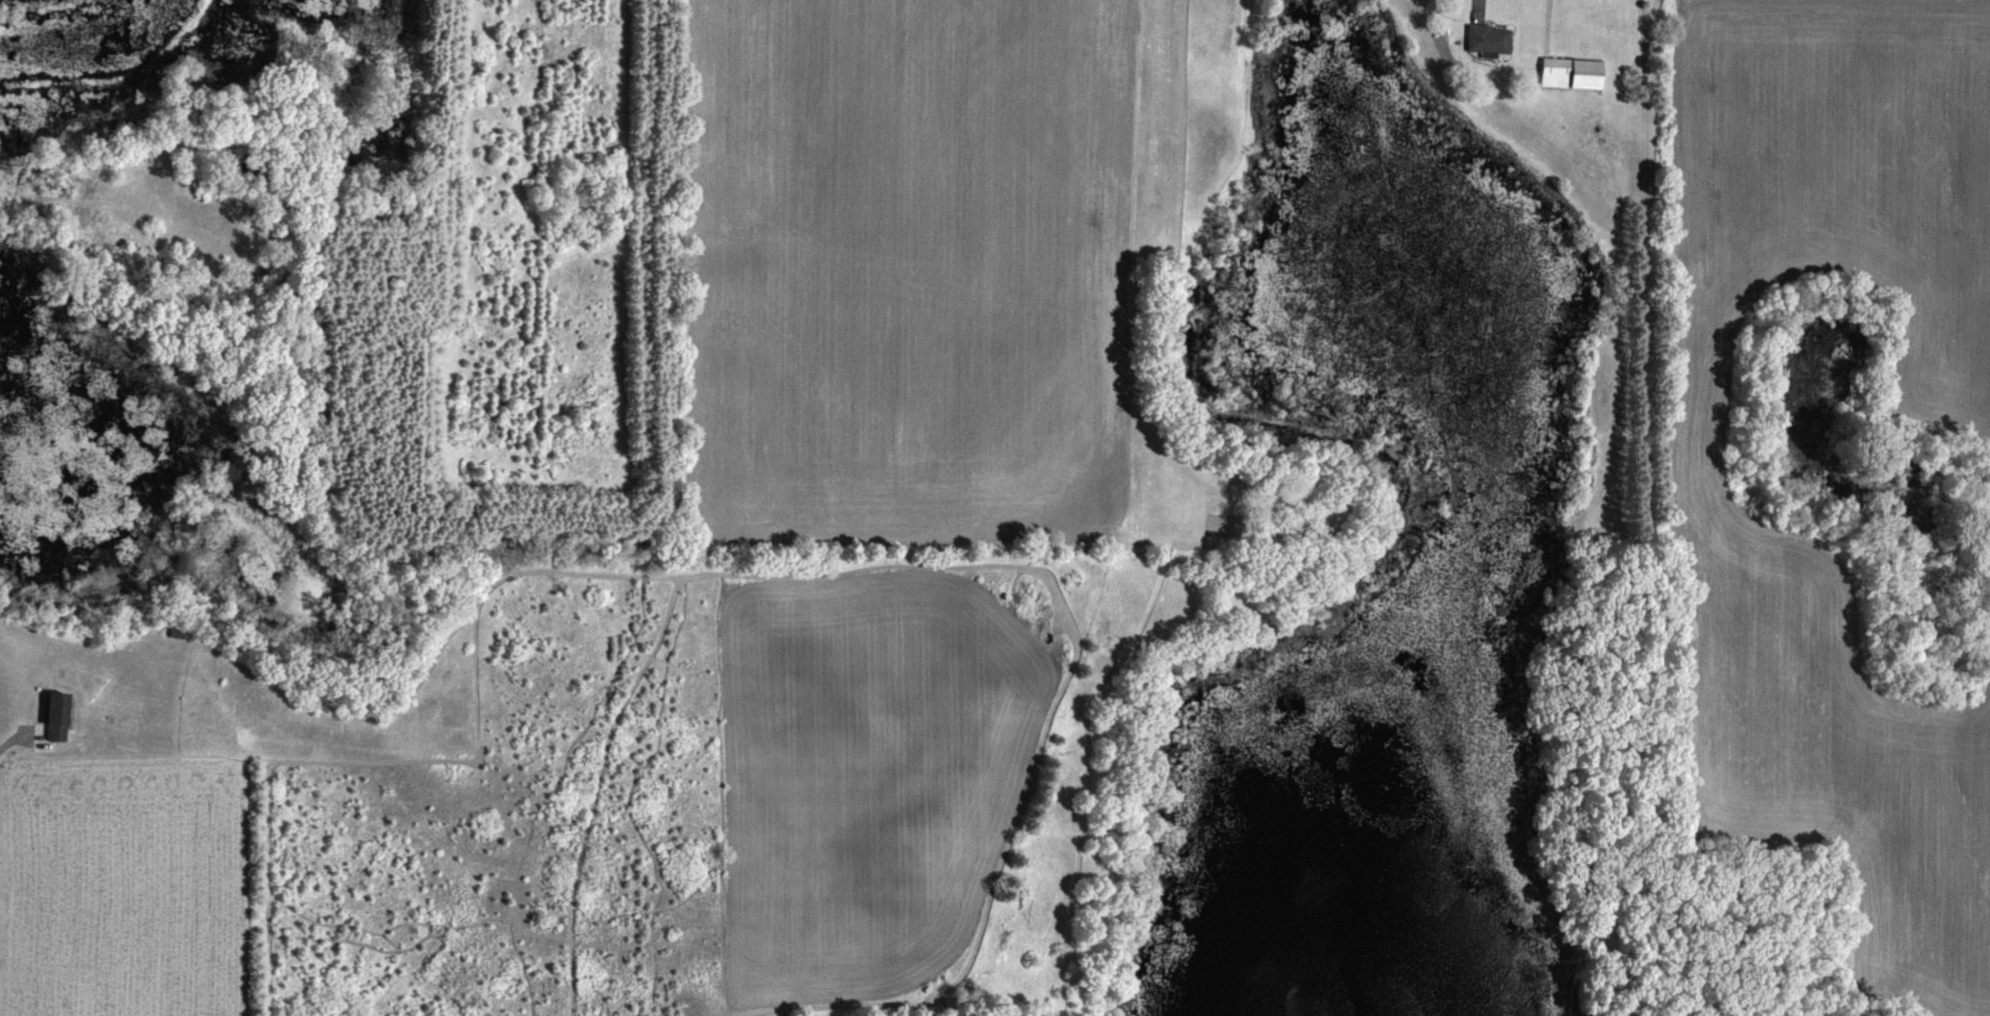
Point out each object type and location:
building: (1491, 39)
building: (1574, 73)
building: (59, 717)

